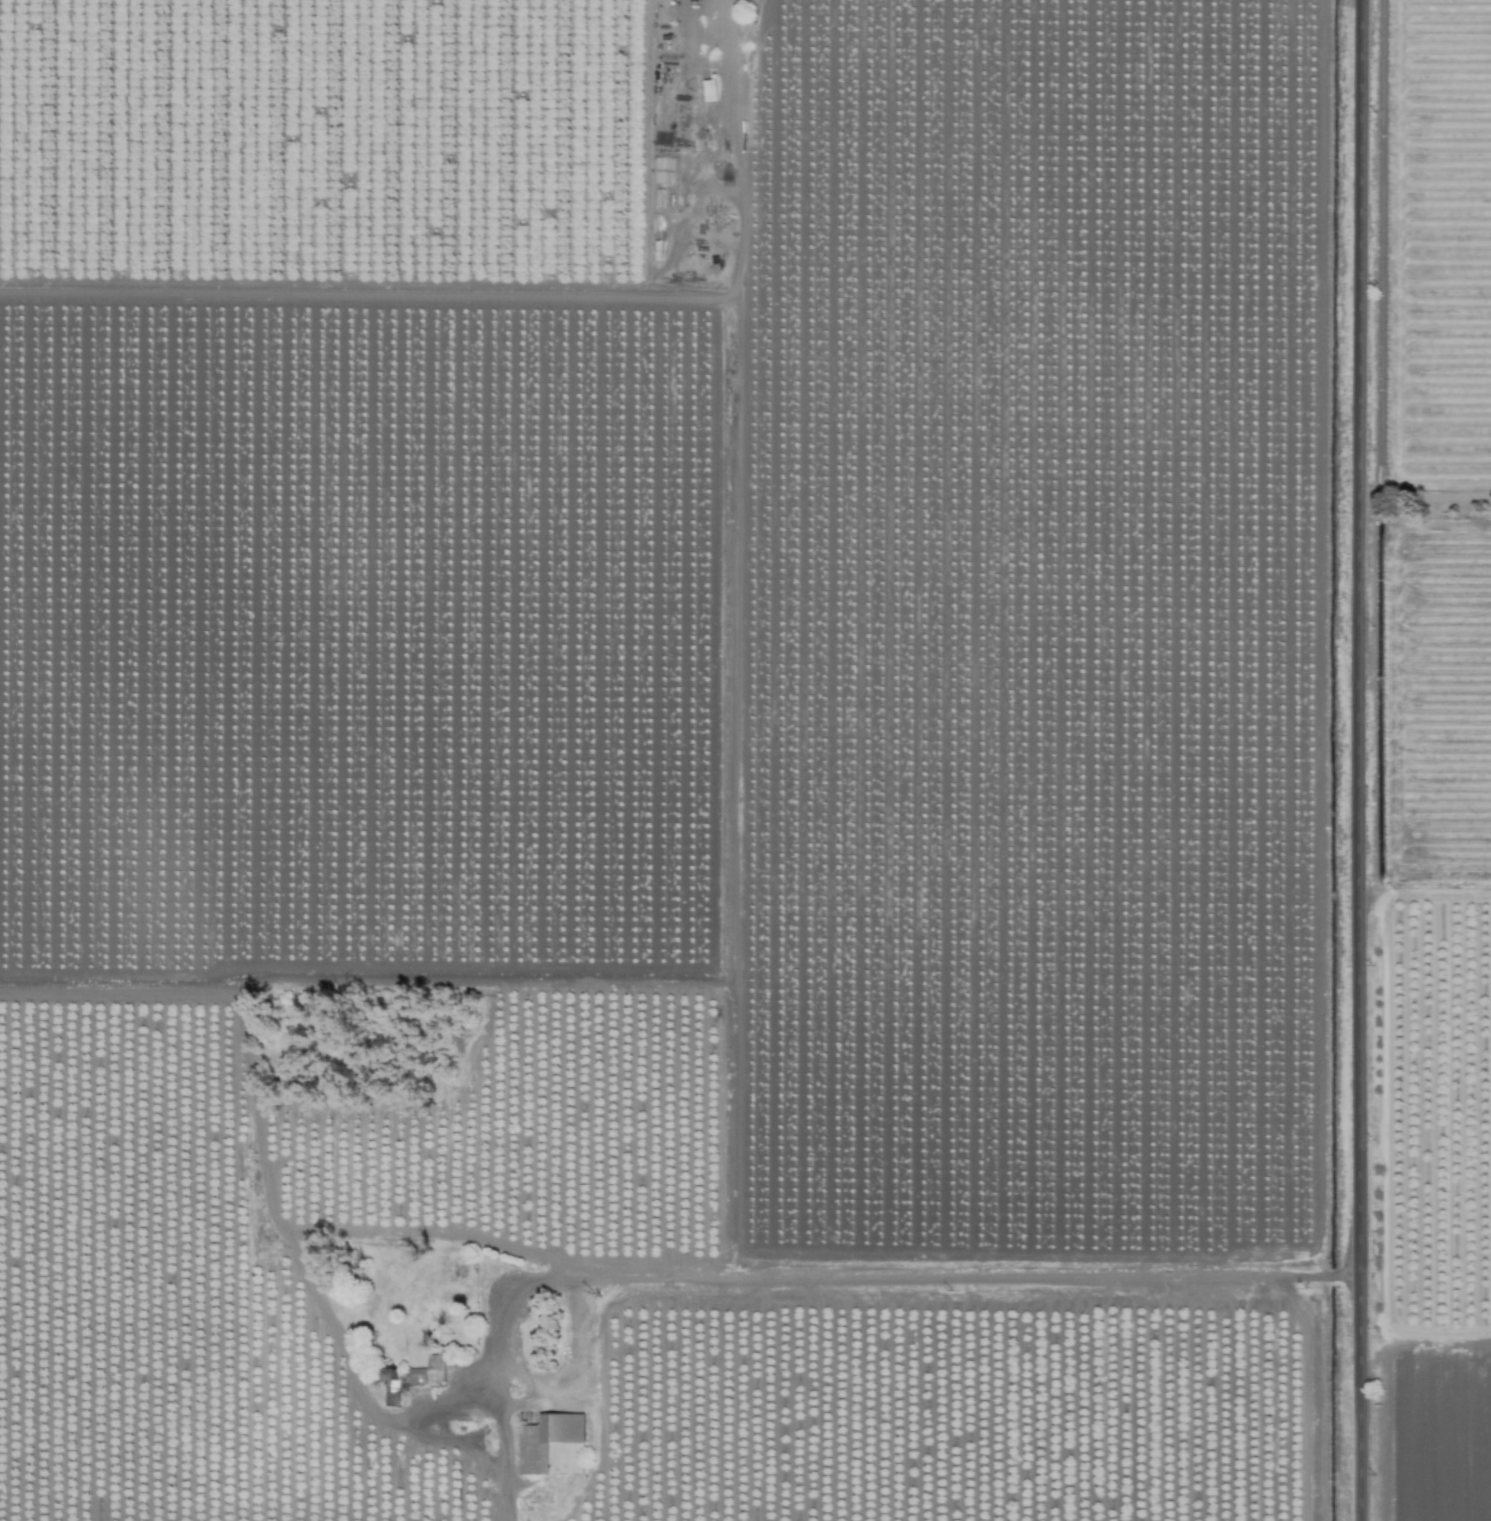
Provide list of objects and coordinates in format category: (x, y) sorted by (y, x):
road: (513, 297)
road: (1357, 760)
road: (834, 1297)
building: (551, 1443)

